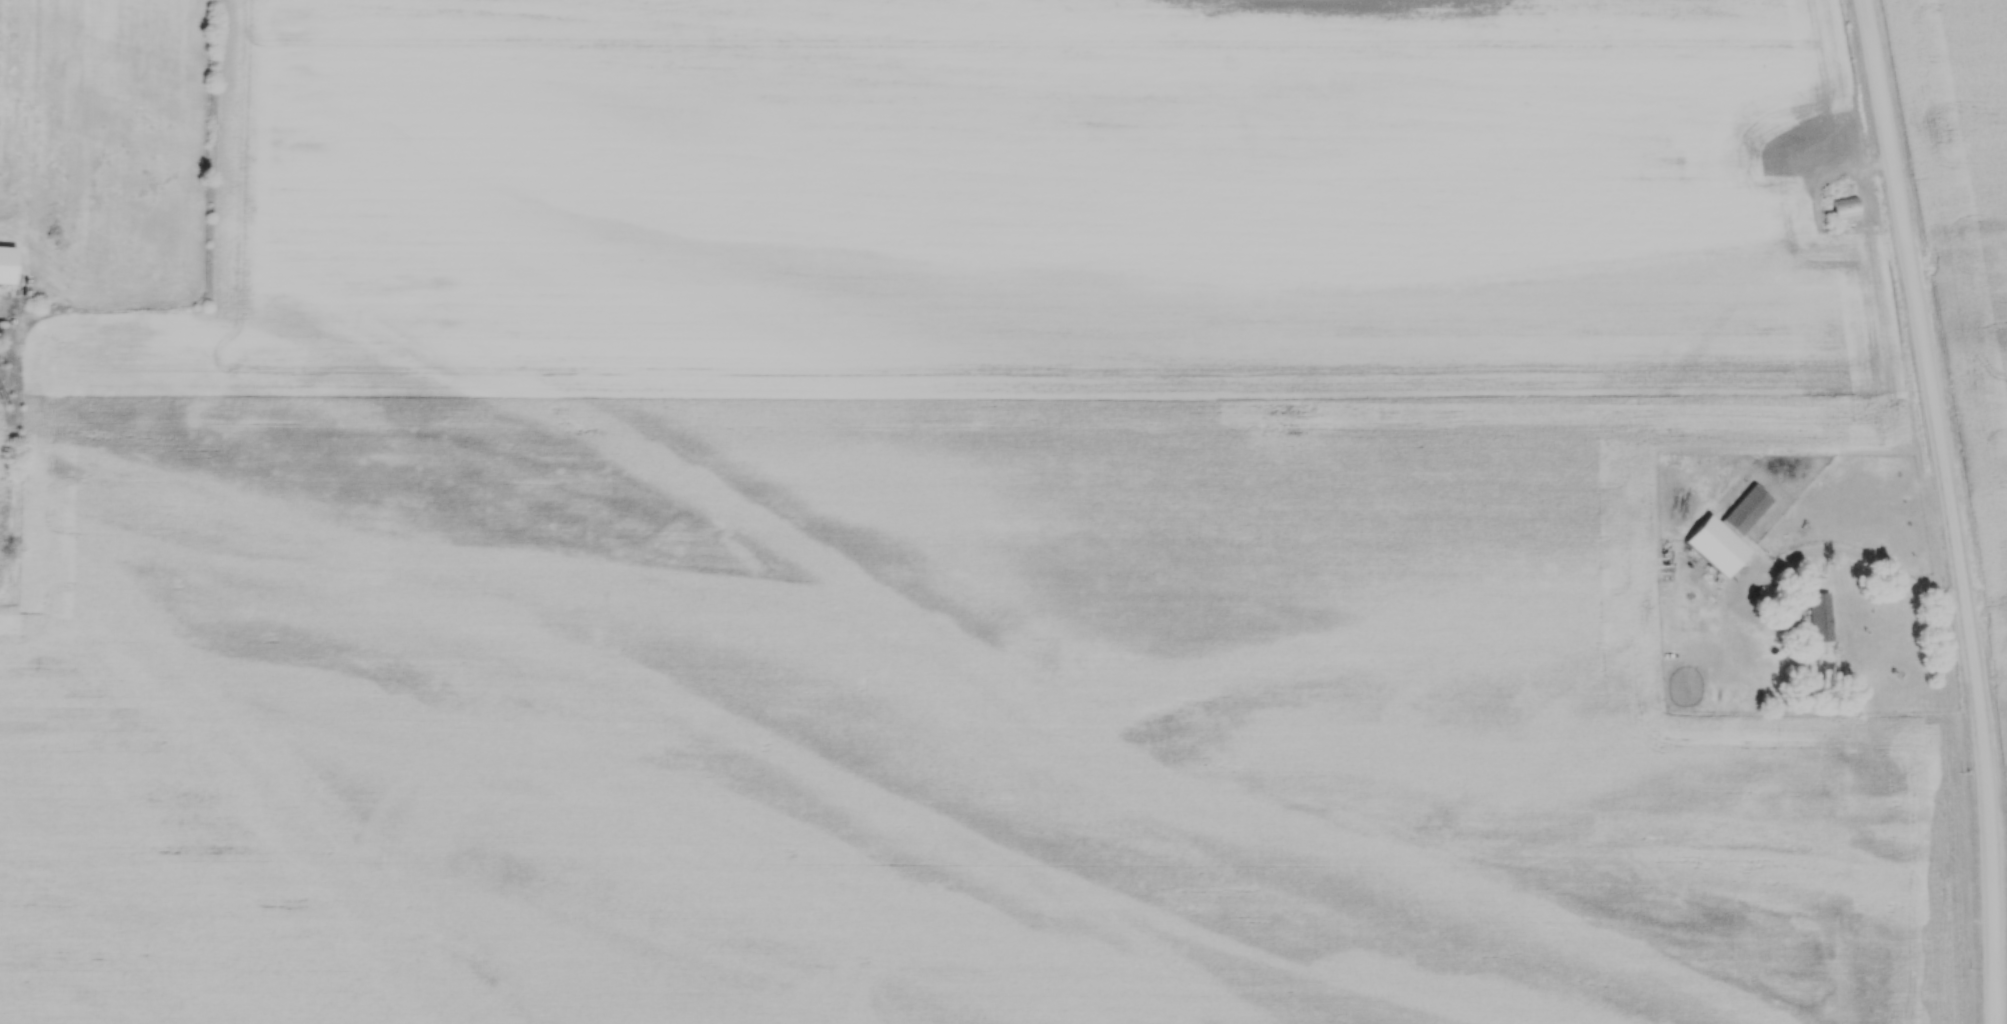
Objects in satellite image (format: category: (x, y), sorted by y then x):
road: (1942, 509)
road: (1870, 563)

